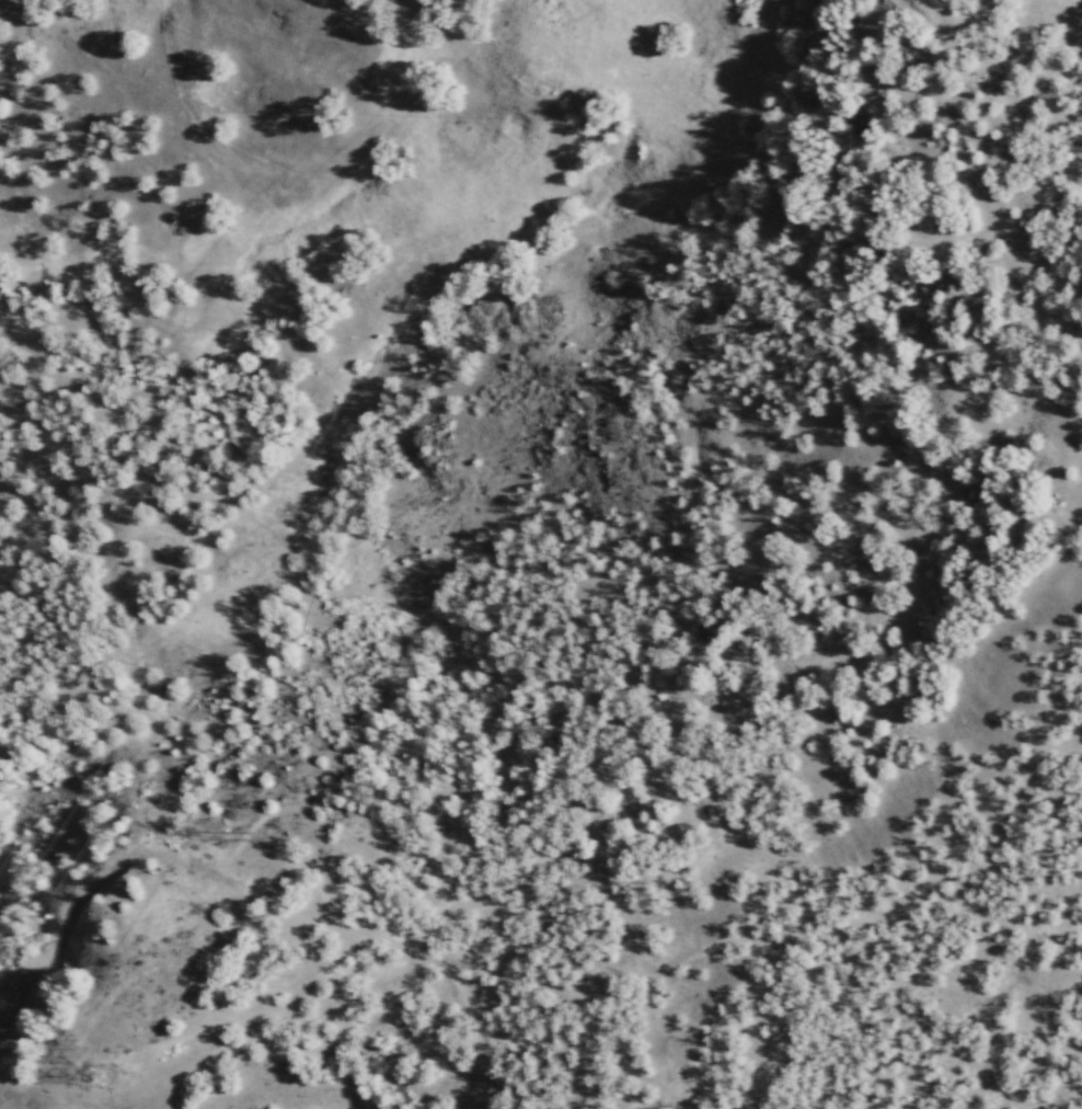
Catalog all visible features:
power tower: (218, 834)
power tower: (266, 843)
power tower: (79, 1060)
power tower: (118, 1078)

